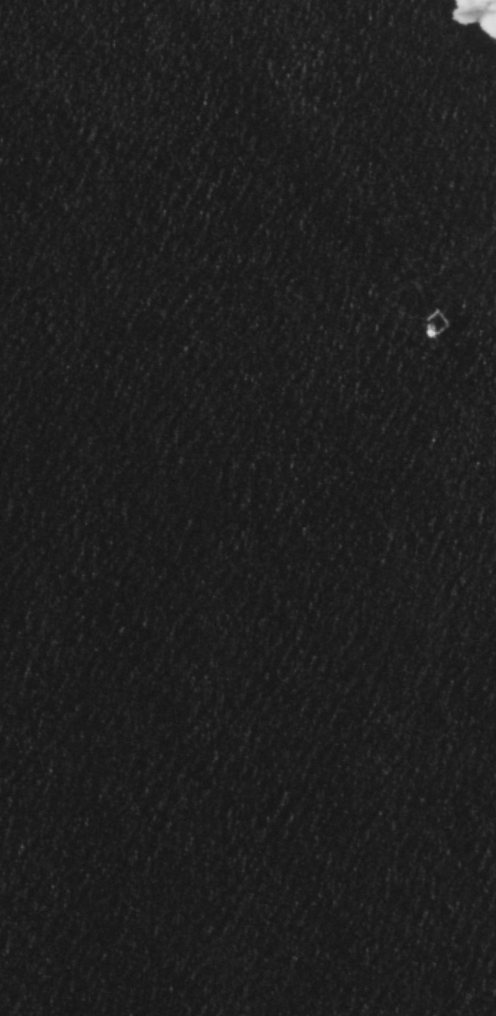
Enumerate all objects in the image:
river: (29, 982)

